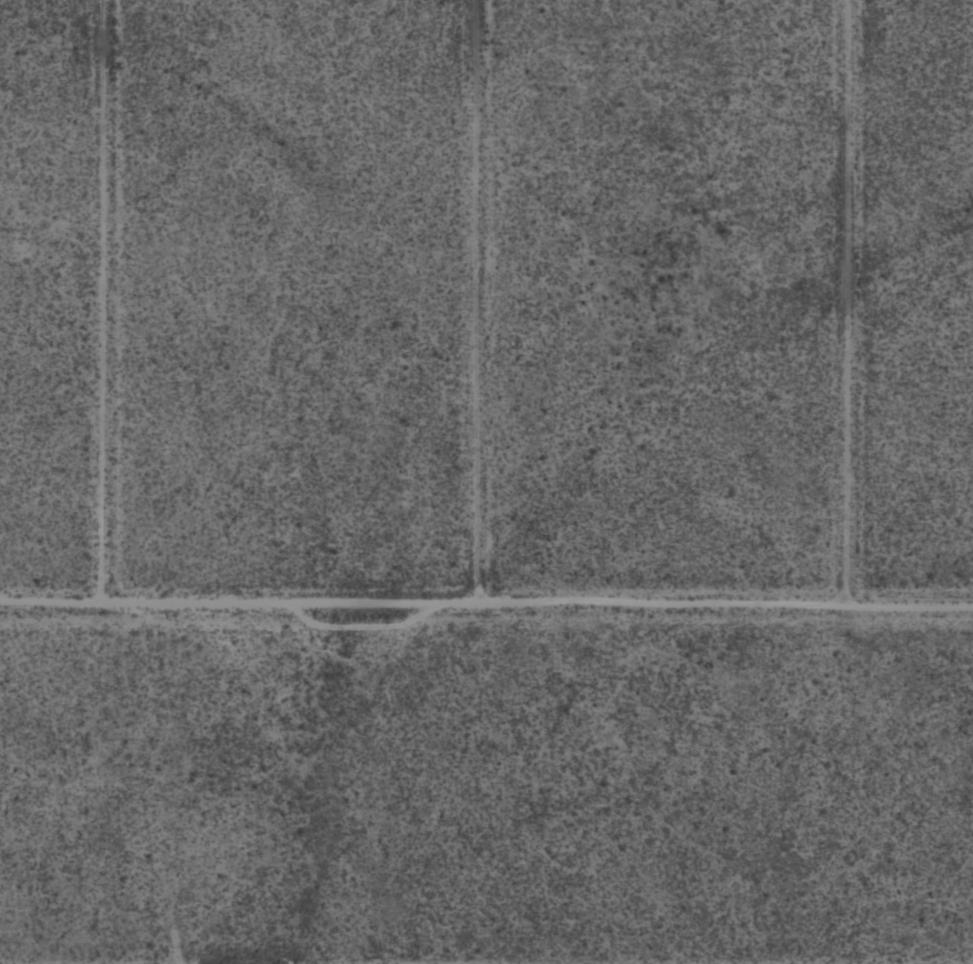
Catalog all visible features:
road: (486, 603)

